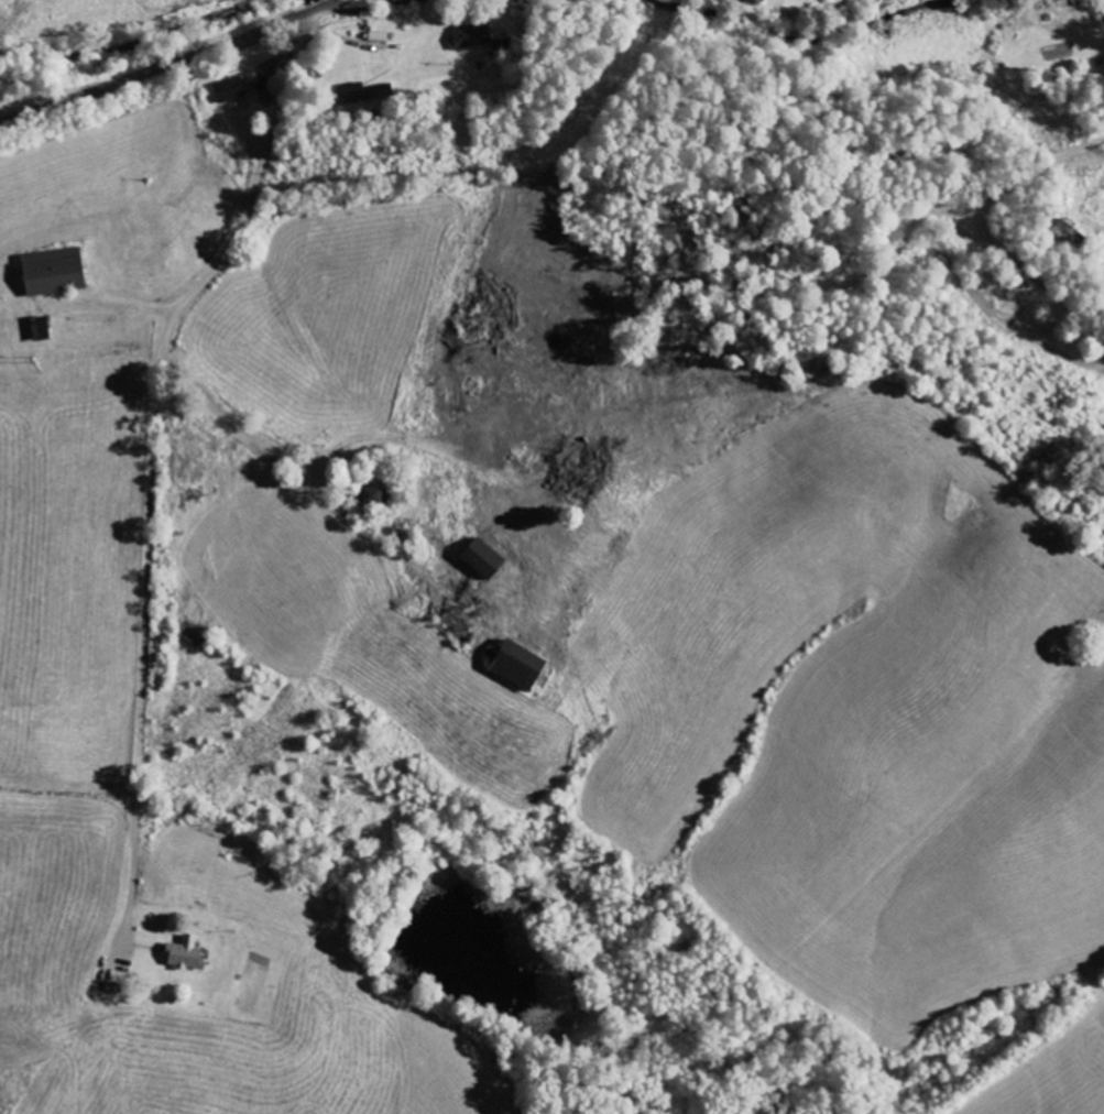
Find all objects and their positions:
building: (473, 36)
road: (174, 62)
building: (231, 91)
building: (363, 92)
road: (1007, 198)
building: (56, 272)
road: (1019, 277)
road: (153, 432)
road: (289, 484)
building: (374, 495)
building: (484, 558)
building: (521, 666)
building: (187, 955)

